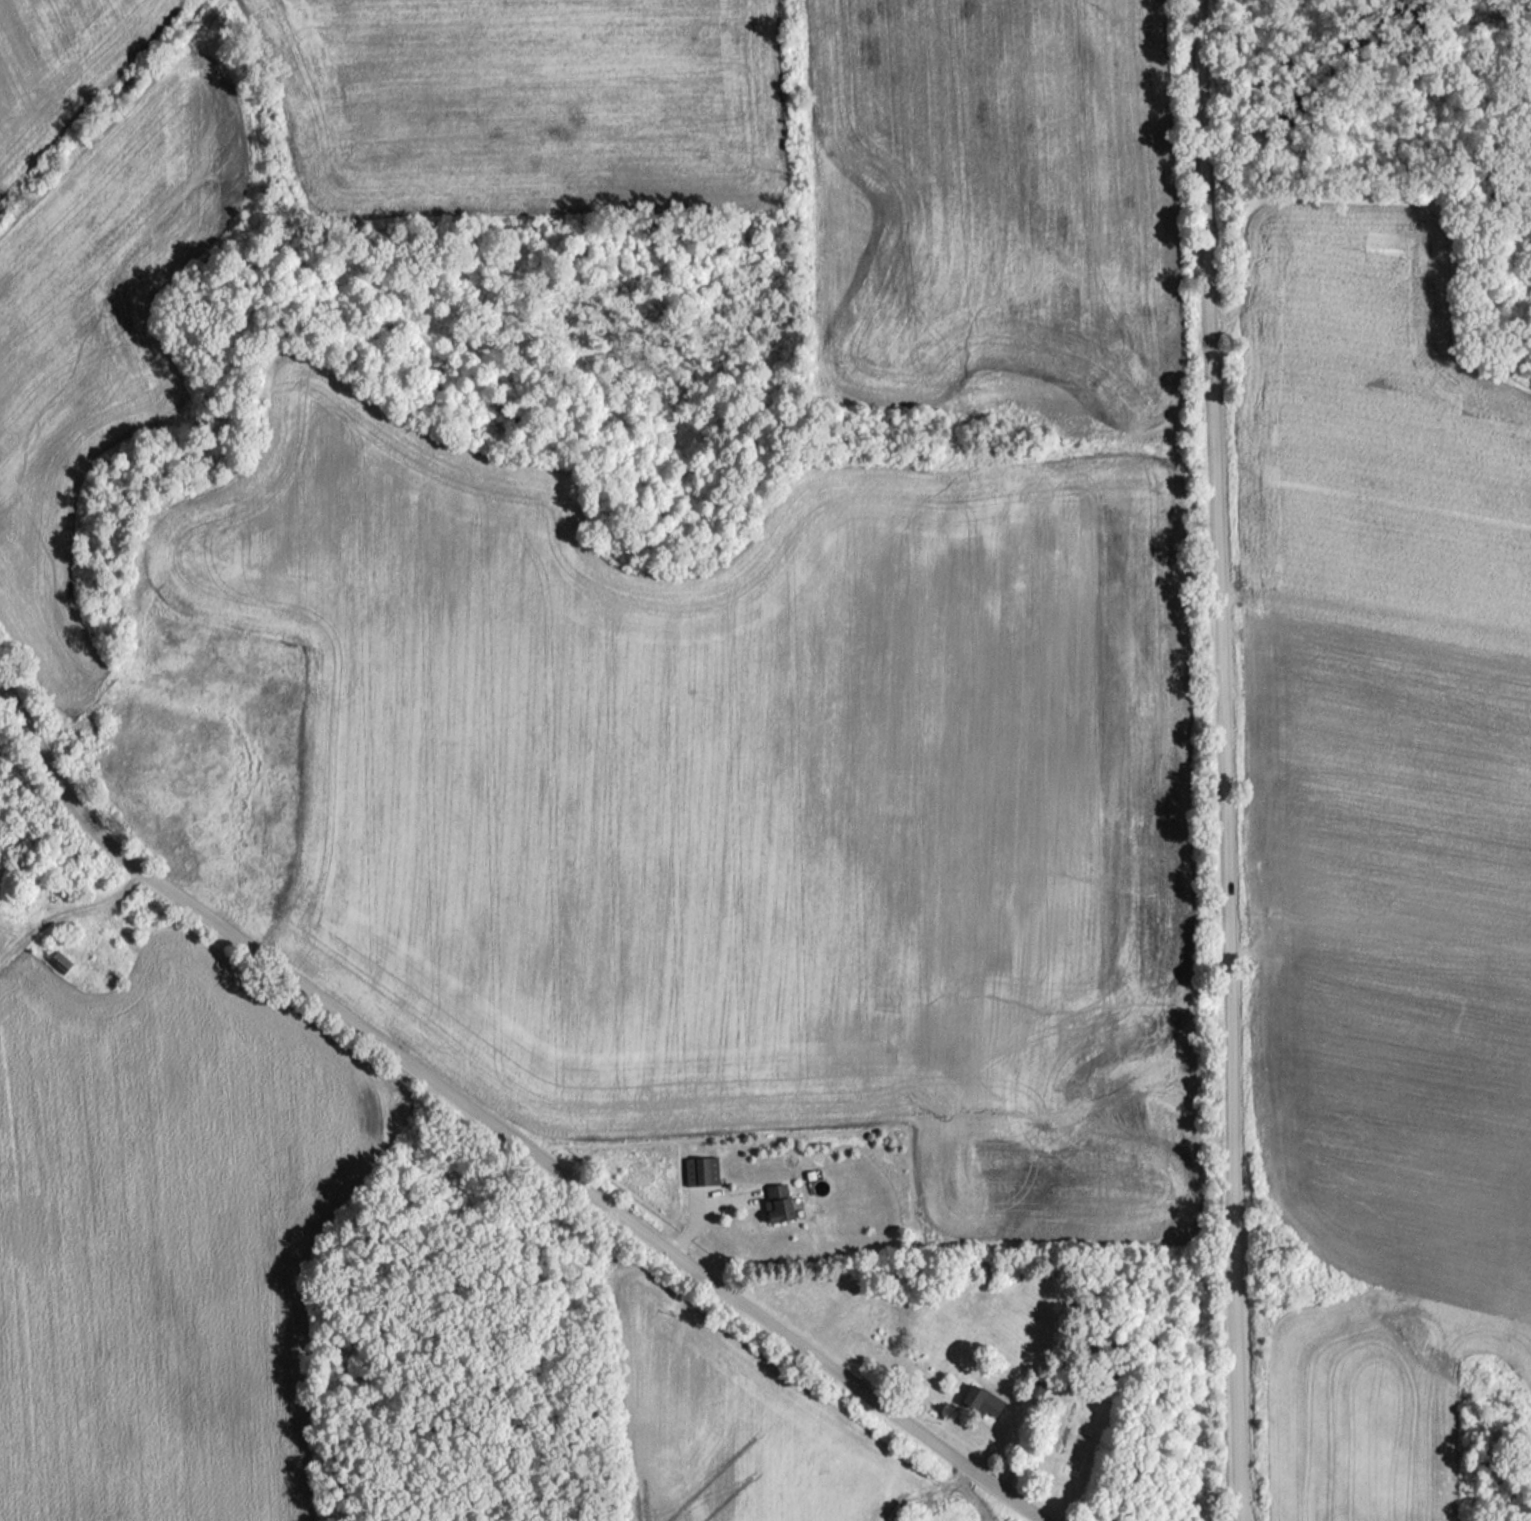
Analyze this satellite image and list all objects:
road: (1227, 760)
building: (60, 961)
road: (498, 1123)
building: (778, 1202)
building: (983, 1400)

